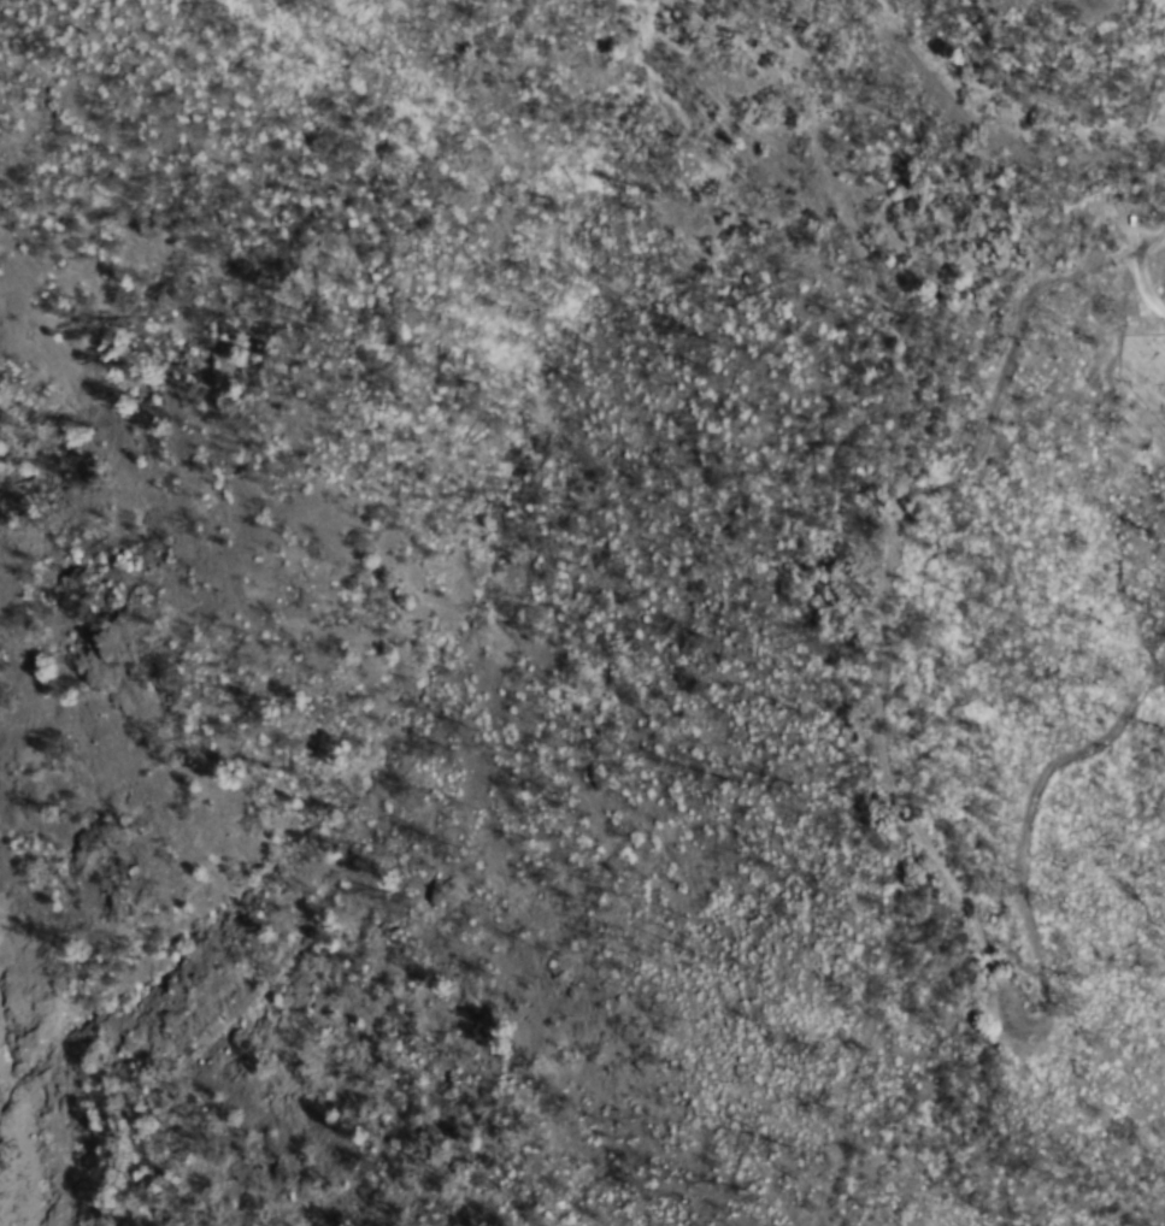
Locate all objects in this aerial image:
road: (294, 6)

